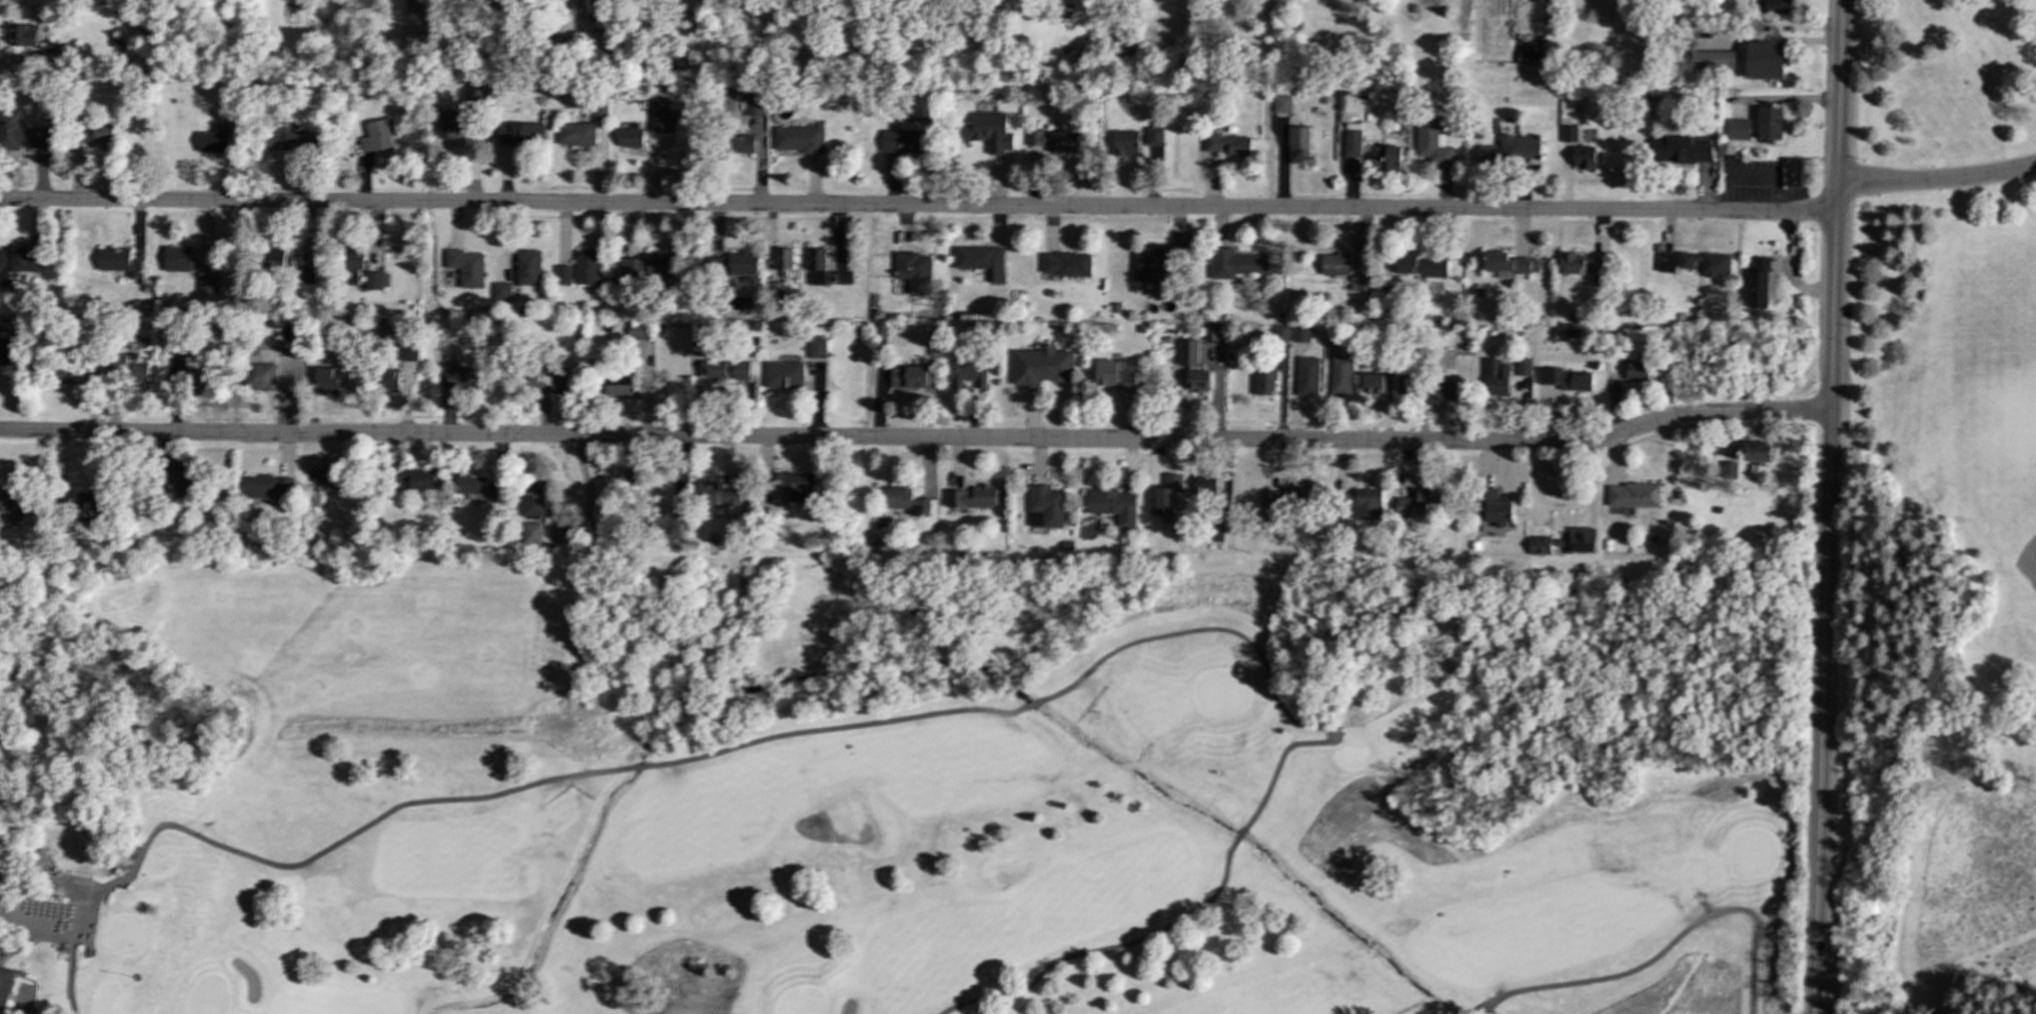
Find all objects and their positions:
building: (598, 0)
building: (1776, 6)
building: (22, 36)
building: (682, 59)
building: (1712, 59)
building: (1763, 60)
building: (473, 99)
building: (754, 104)
building: (1281, 104)
building: (598, 110)
building: (660, 116)
building: (1769, 124)
building: (448, 125)
building: (1738, 130)
building: (99, 131)
building: (988, 131)
building: (20, 133)
building: (519, 133)
building: (575, 134)
building: (1568, 134)
building: (630, 136)
building: (1154, 136)
building: (375, 137)
building: (799, 139)
building: (1055, 141)
building: (212, 142)
building: (294, 142)
building: (906, 142)
building: (1432, 142)
building: (1125, 143)
building: (743, 144)
building: (1227, 144)
building: (1352, 144)
building: (1299, 145)
building: (1511, 150)
building: (1688, 150)
building: (1583, 157)
building: (1386, 158)
building: (1800, 172)
road: (1938, 179)
road: (919, 206)
building: (179, 259)
building: (783, 259)
building: (981, 261)
building: (117, 262)
building: (1666, 262)
building: (1236, 263)
building: (1571, 263)
building: (1705, 263)
building: (18, 264)
building: (291, 264)
building: (1066, 264)
building: (1335, 264)
building: (816, 265)
building: (1148, 265)
building: (1506, 265)
building: (647, 266)
building: (736, 266)
building: (1418, 266)
building: (466, 267)
building: (528, 267)
building: (587, 267)
building: (913, 271)
building: (562, 275)
building: (1597, 277)
building: (376, 281)
building: (1362, 282)
building: (1757, 284)
building: (639, 331)
building: (1211, 333)
building: (1280, 333)
building: (1300, 334)
building: (879, 336)
building: (817, 348)
building: (9, 352)
building: (407, 352)
building: (291, 363)
building: (1041, 365)
building: (1190, 367)
building: (1523, 367)
building: (127, 369)
building: (713, 370)
building: (741, 370)
building: (64, 371)
building: (1636, 371)
building: (88, 372)
building: (1114, 373)
building: (187, 374)
building: (968, 374)
building: (784, 375)
building: (1341, 375)
building: (261, 376)
building: (1307, 376)
building: (912, 377)
building: (1496, 377)
building: (462, 378)
building: (1564, 379)
building: (327, 380)
building: (389, 381)
building: (536, 381)
building: (1265, 383)
building: (563, 384)
building: (1373, 384)
building: (1408, 384)
building: (618, 386)
building: (1450, 387)
road: (919, 439)
building: (1757, 452)
building: (1729, 470)
building: (330, 478)
building: (183, 479)
building: (414, 479)
building: (1204, 485)
building: (477, 486)
building: (267, 487)
building: (796, 487)
road: (589, 494)
building: (716, 495)
building: (1166, 495)
building: (1633, 495)
building: (972, 497)
building: (532, 498)
building: (313, 499)
building: (905, 501)
building: (91, 503)
building: (1422, 503)
building: (12, 504)
building: (1366, 504)
building: (1046, 505)
building: (1112, 505)
building: (1495, 506)
road: (1831, 507)
park: (1997, 508)
park: (1941, 519)
building: (531, 533)
building: (1215, 533)
building: (1582, 539)
building: (1539, 546)
road: (1263, 659)
road: (1029, 705)
road: (832, 726)
road: (633, 768)
park: (921, 785)
road: (1236, 837)
road: (339, 842)
road: (89, 905)
road: (1668, 945)
road: (1101, 949)
road: (67, 970)
building: (4, 986)
road: (1479, 1009)

